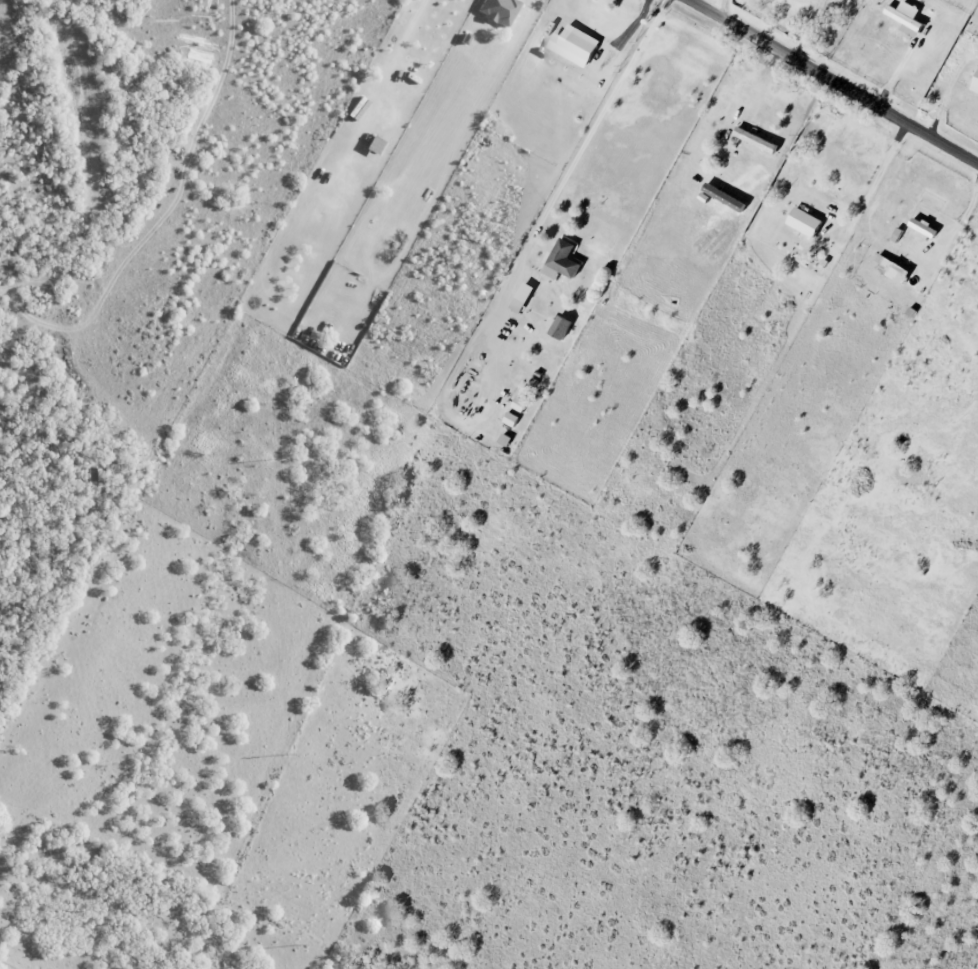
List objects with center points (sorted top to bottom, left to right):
road: (721, 7)
building: (497, 10)
building: (904, 21)
building: (576, 45)
road: (835, 81)
building: (975, 83)
building: (755, 140)
road: (581, 151)
power tower: (262, 200)
building: (804, 221)
building: (922, 228)
building: (896, 234)
building: (561, 259)
building: (890, 267)
building: (521, 296)
building: (559, 327)
road: (518, 344)
building: (518, 403)
building: (511, 419)
building: (504, 439)
power tower: (275, 457)
power tower: (292, 751)
power tower: (301, 943)

